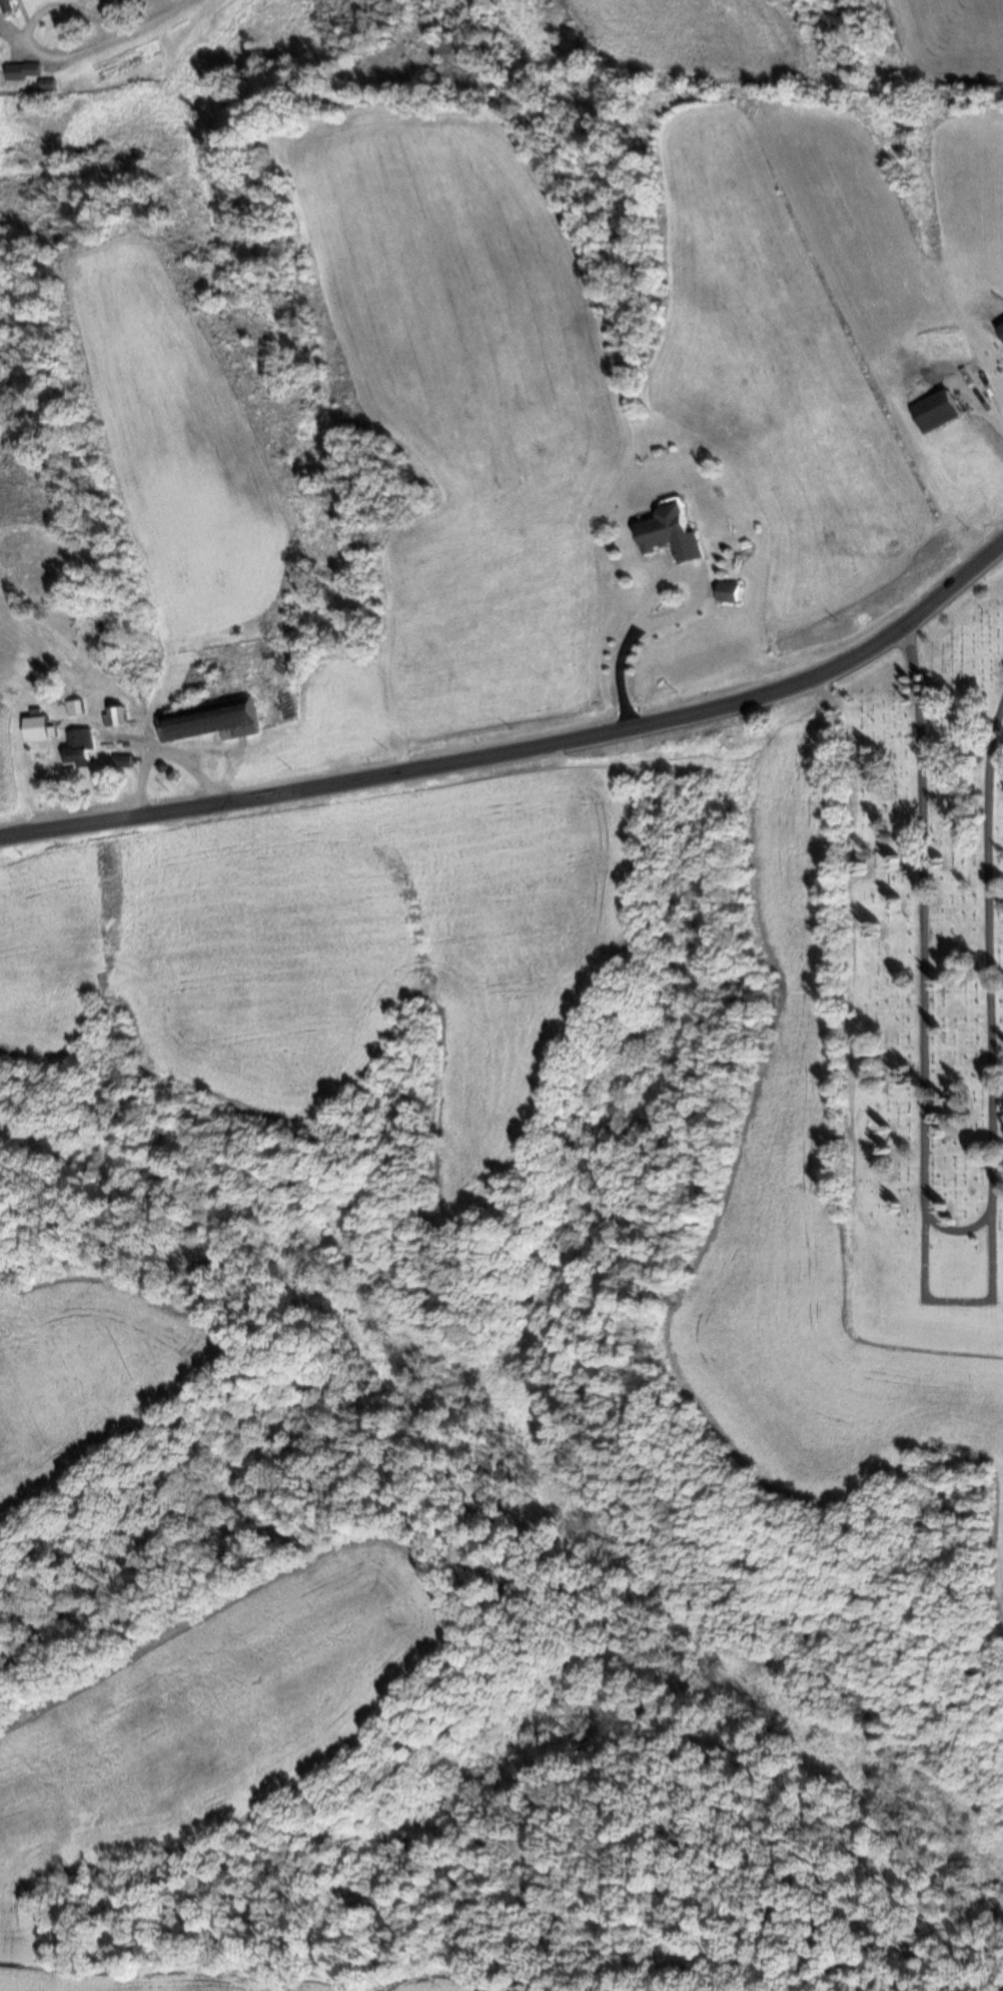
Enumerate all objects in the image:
building: (5, 7)
road: (162, 16)
road: (38, 53)
building: (22, 73)
road: (983, 407)
building: (670, 535)
building: (728, 592)
building: (208, 720)
road: (645, 725)
building: (39, 726)
building: (81, 748)
building: (124, 760)
road: (123, 819)

